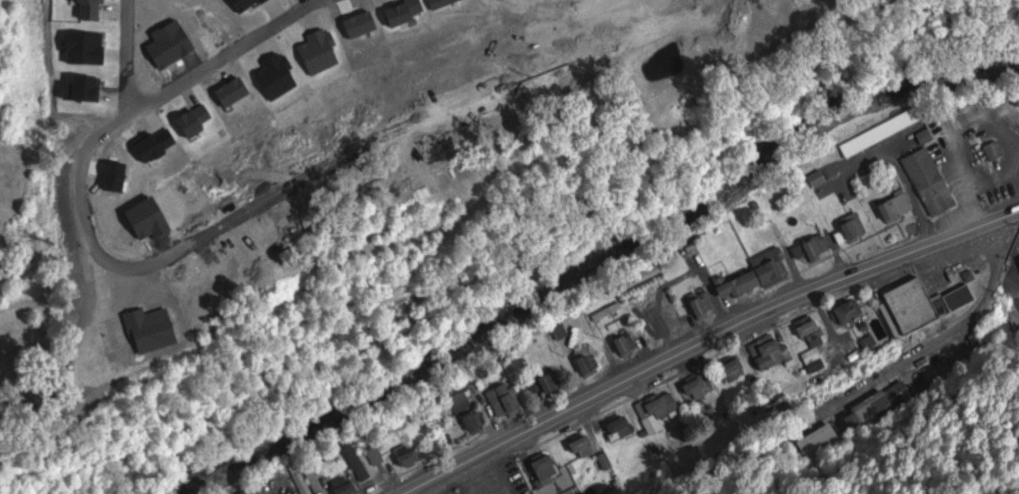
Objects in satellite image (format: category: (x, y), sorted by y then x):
building: (435, 2)
building: (242, 4)
building: (422, 4)
building: (599, 6)
building: (73, 9)
building: (398, 9)
building: (720, 20)
building: (336, 22)
building: (305, 23)
building: (358, 23)
building: (275, 27)
building: (246, 34)
building: (166, 40)
building: (144, 46)
building: (81, 47)
building: (112, 49)
building: (319, 49)
road: (223, 54)
building: (274, 75)
building: (187, 83)
building: (79, 86)
building: (353, 89)
building: (229, 90)
building: (287, 102)
building: (128, 107)
building: (199, 126)
building: (885, 131)
building: (150, 144)
building: (1014, 147)
building: (996, 150)
building: (112, 177)
building: (376, 177)
building: (932, 181)
building: (898, 207)
building: (143, 217)
building: (854, 228)
road: (1006, 243)
building: (814, 247)
river: (593, 267)
building: (760, 275)
building: (960, 297)
building: (704, 304)
building: (912, 307)
building: (610, 311)
building: (851, 311)
building: (148, 328)
building: (811, 328)
road: (709, 342)
building: (630, 344)
building: (769, 351)
building: (813, 355)
building: (737, 368)
building: (552, 381)
building: (697, 387)
building: (507, 399)
building: (463, 401)
building: (662, 410)
building: (478, 421)
building: (624, 426)
building: (820, 442)
building: (584, 446)
road: (953, 451)
building: (378, 455)
building: (412, 457)
building: (358, 460)
building: (549, 468)
building: (309, 480)
building: (345, 484)
building: (511, 484)
road: (1009, 489)

